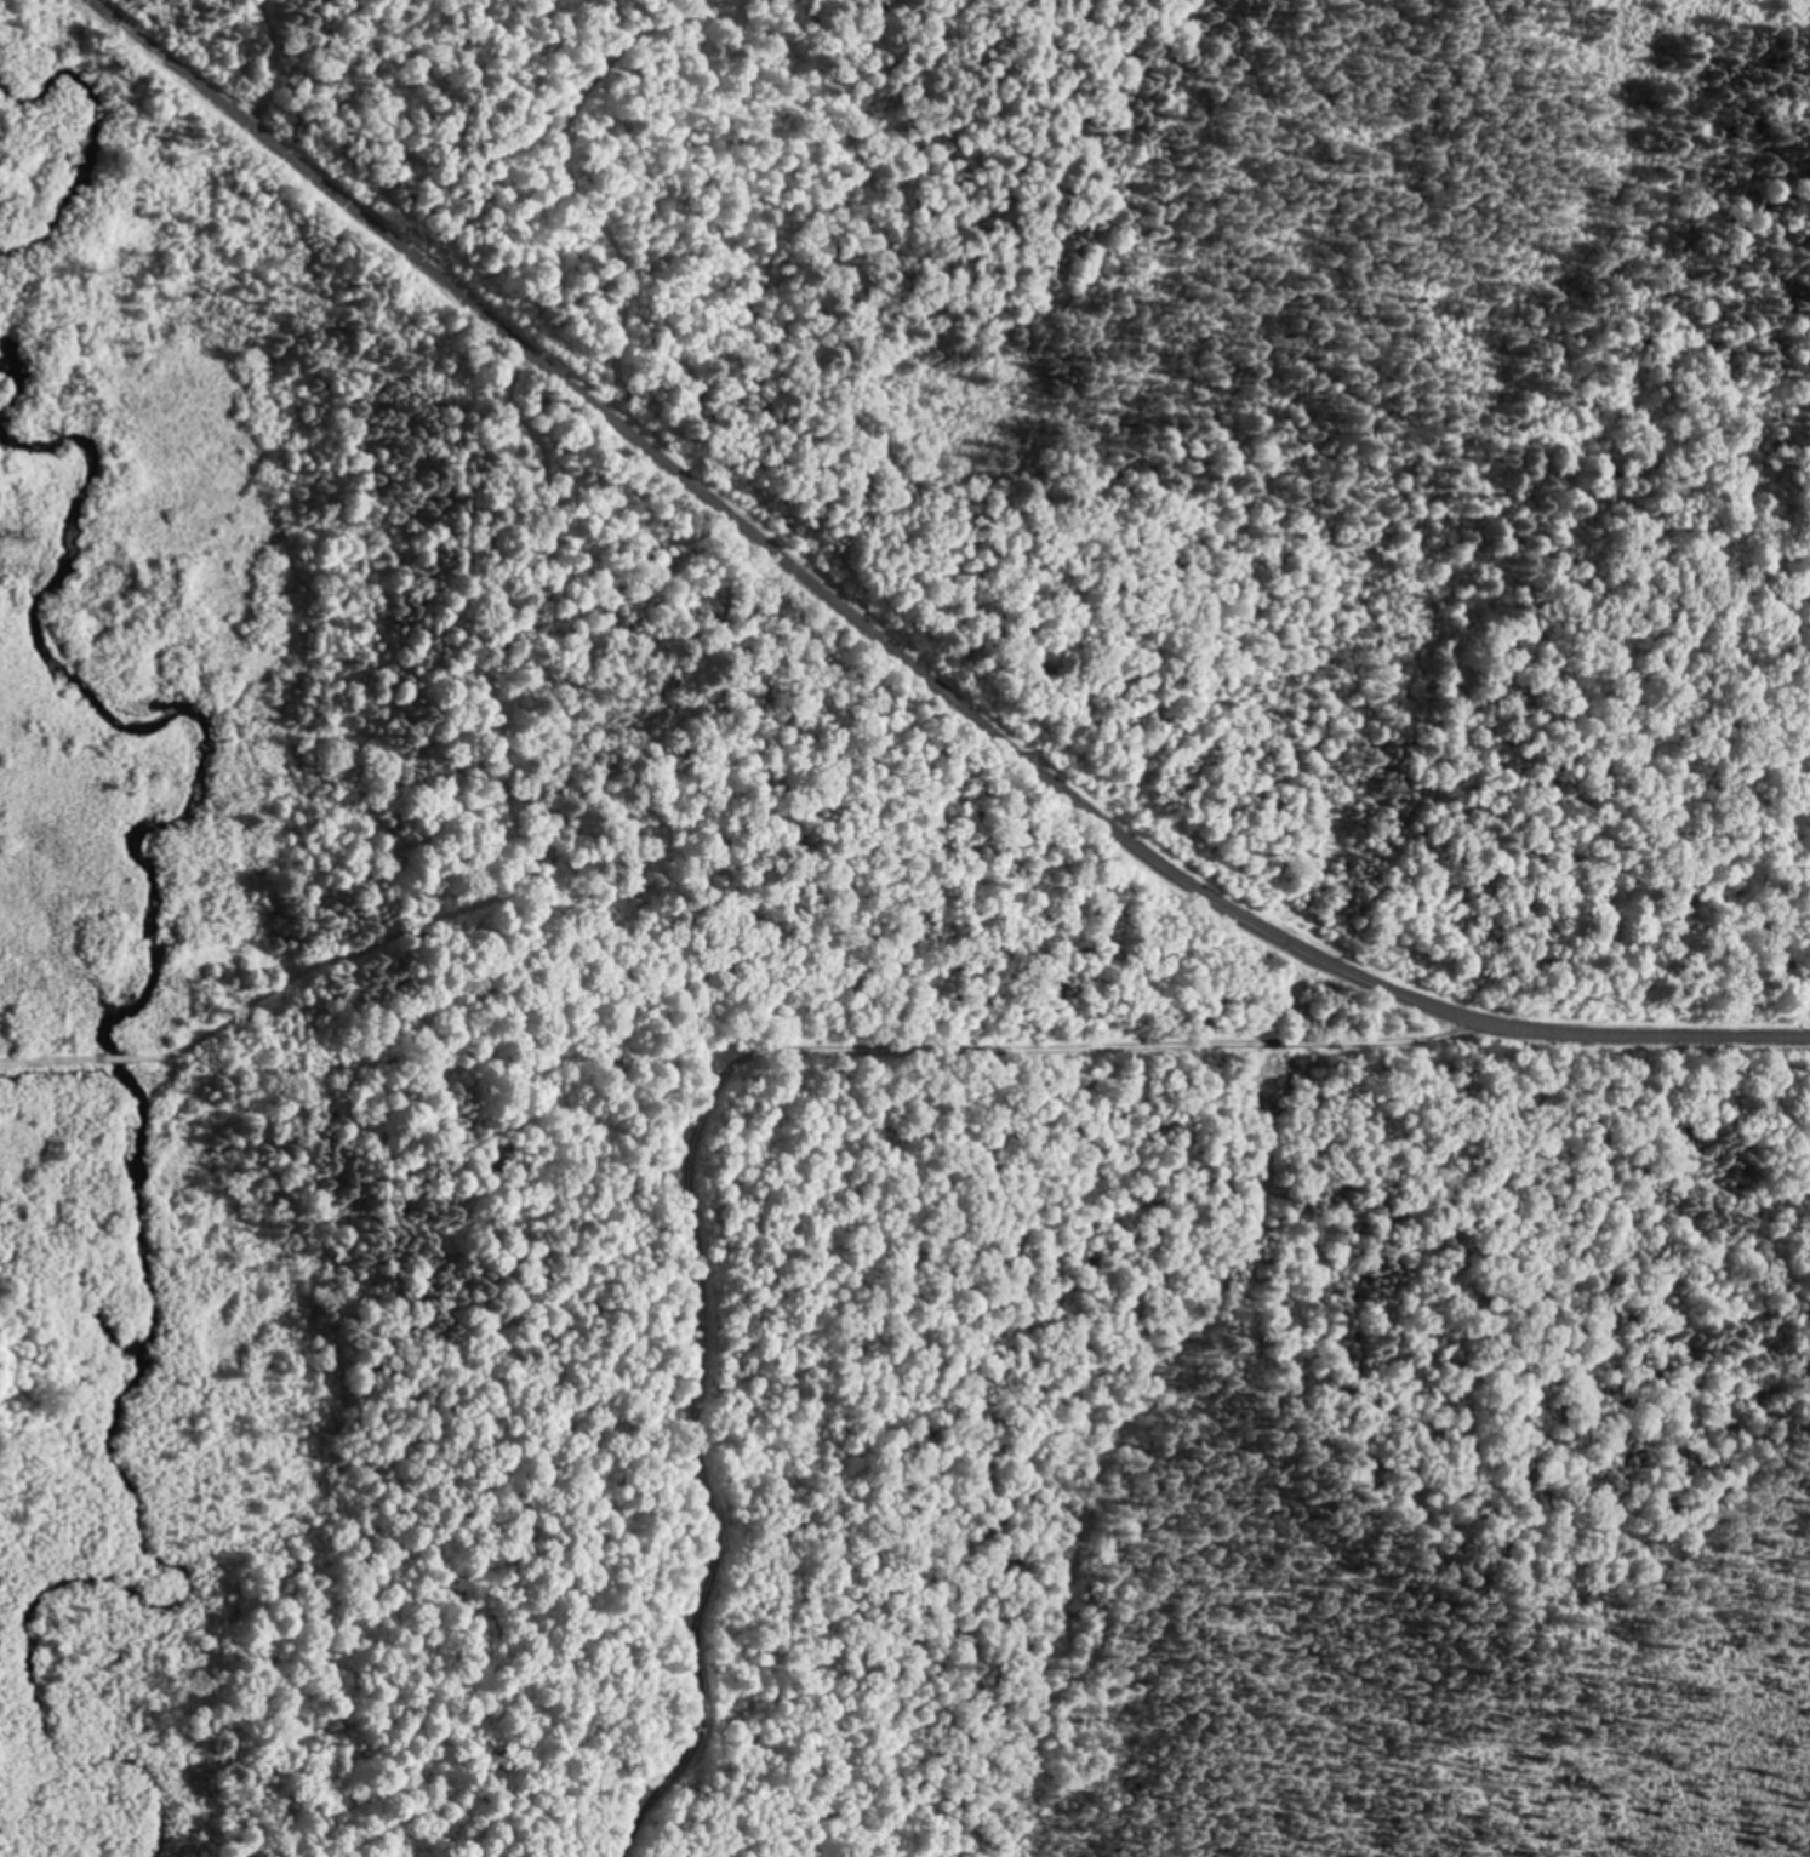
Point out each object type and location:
road: (893, 651)
road: (718, 1147)

